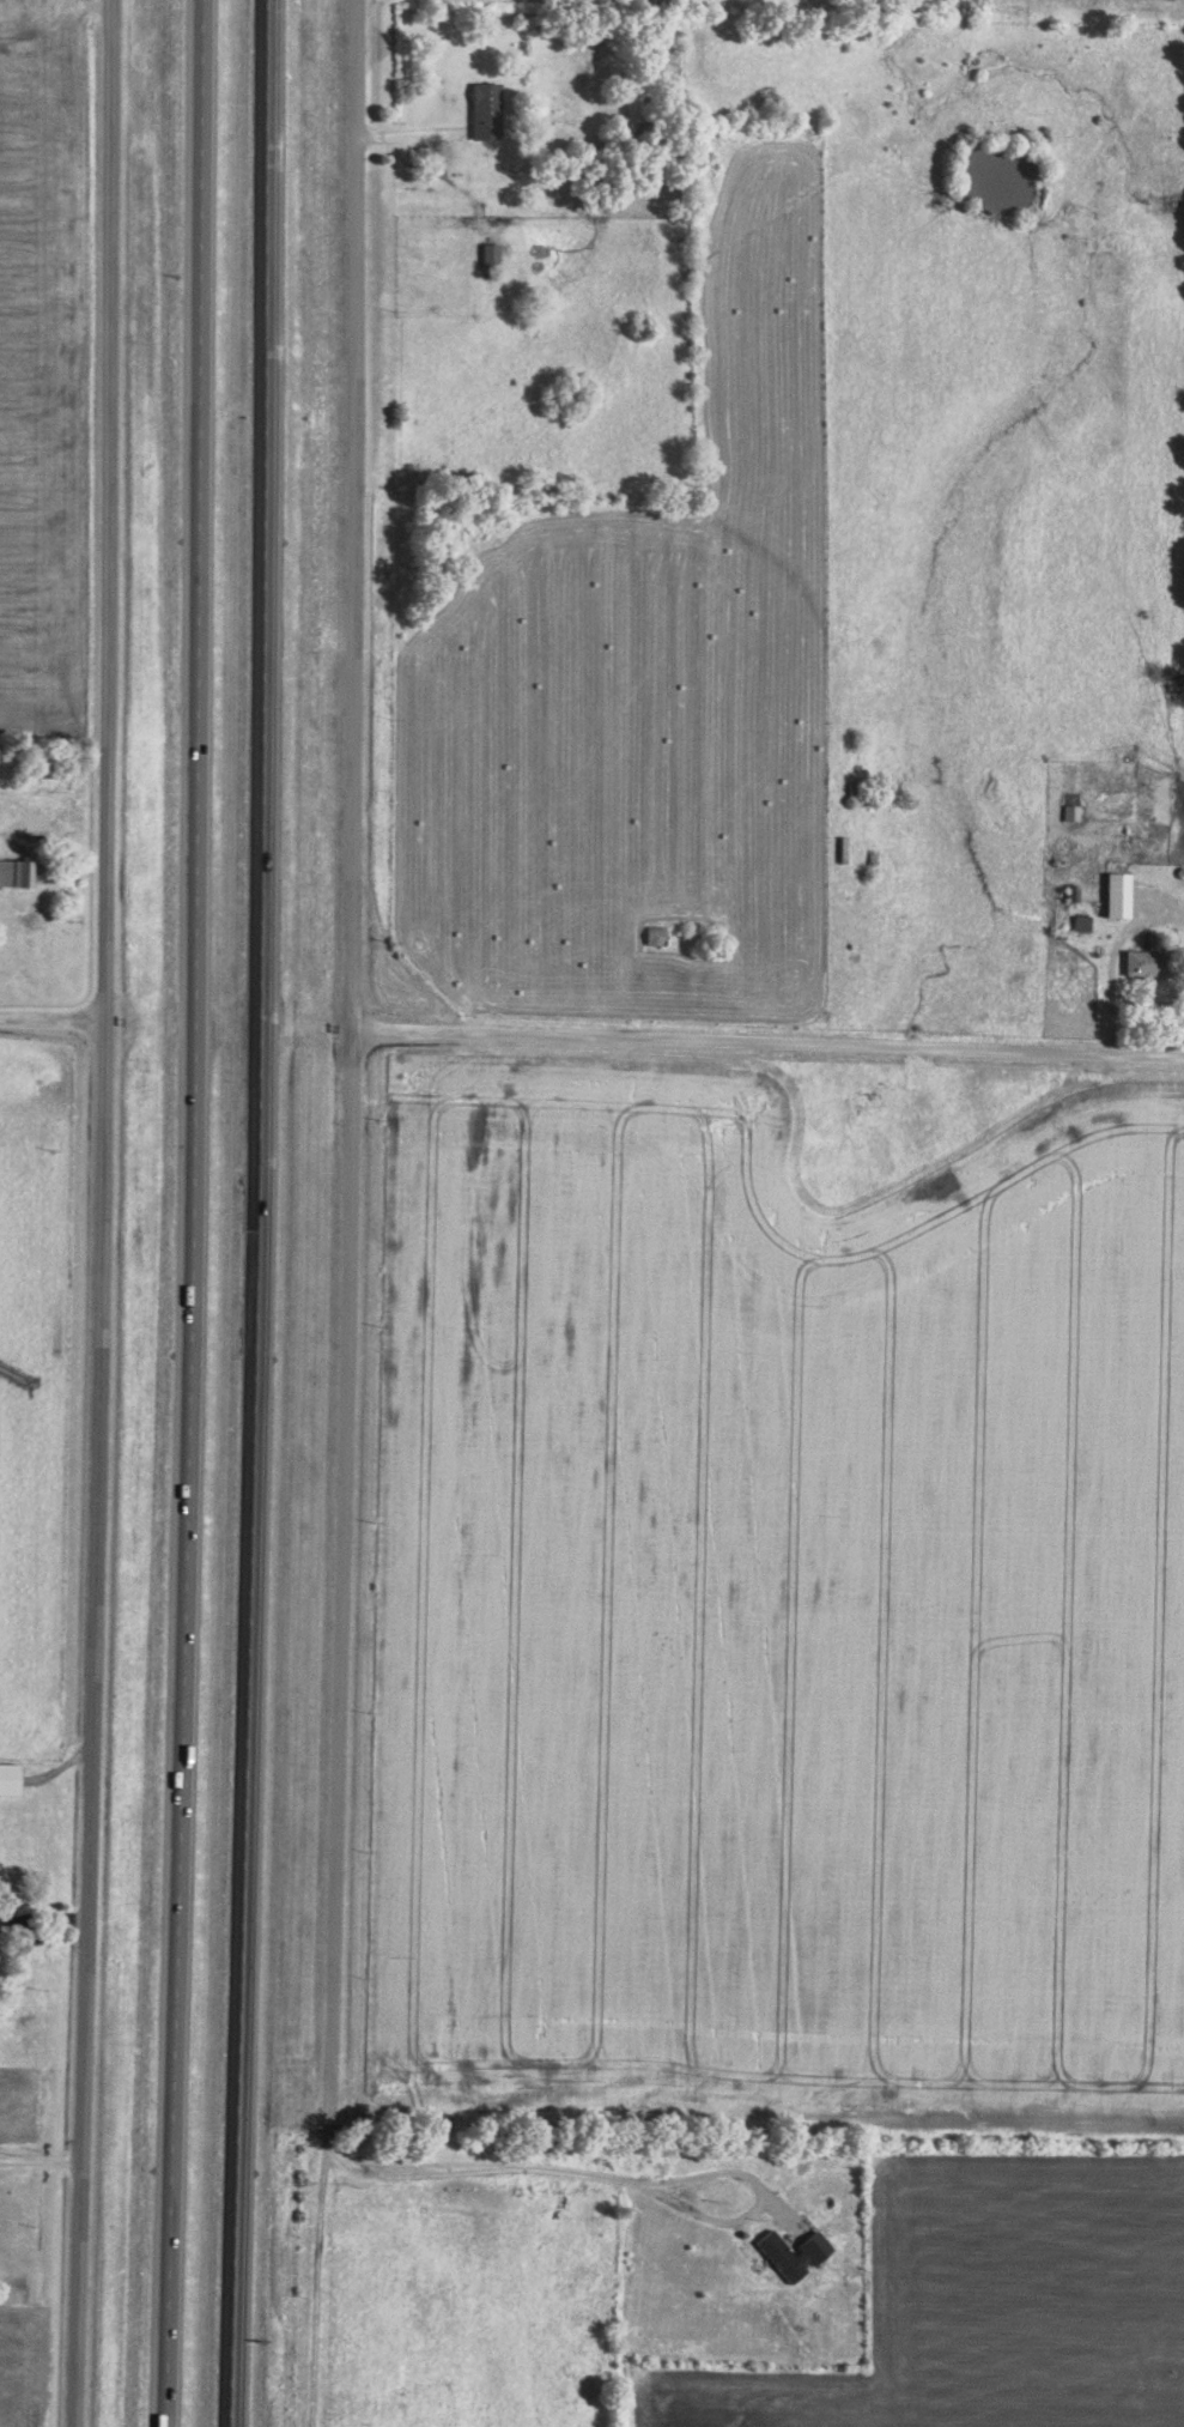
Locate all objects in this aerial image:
road: (57, 4)
building: (485, 108)
building: (487, 253)
building: (1070, 810)
building: (16, 868)
building: (1116, 892)
road: (1112, 960)
building: (1146, 961)
road: (53, 1023)
road: (767, 1045)
road: (351, 1073)
road: (104, 1213)
road: (196, 1213)
road: (259, 1213)
building: (7, 1775)
road: (42, 2166)
road: (613, 2181)
building: (791, 2250)

